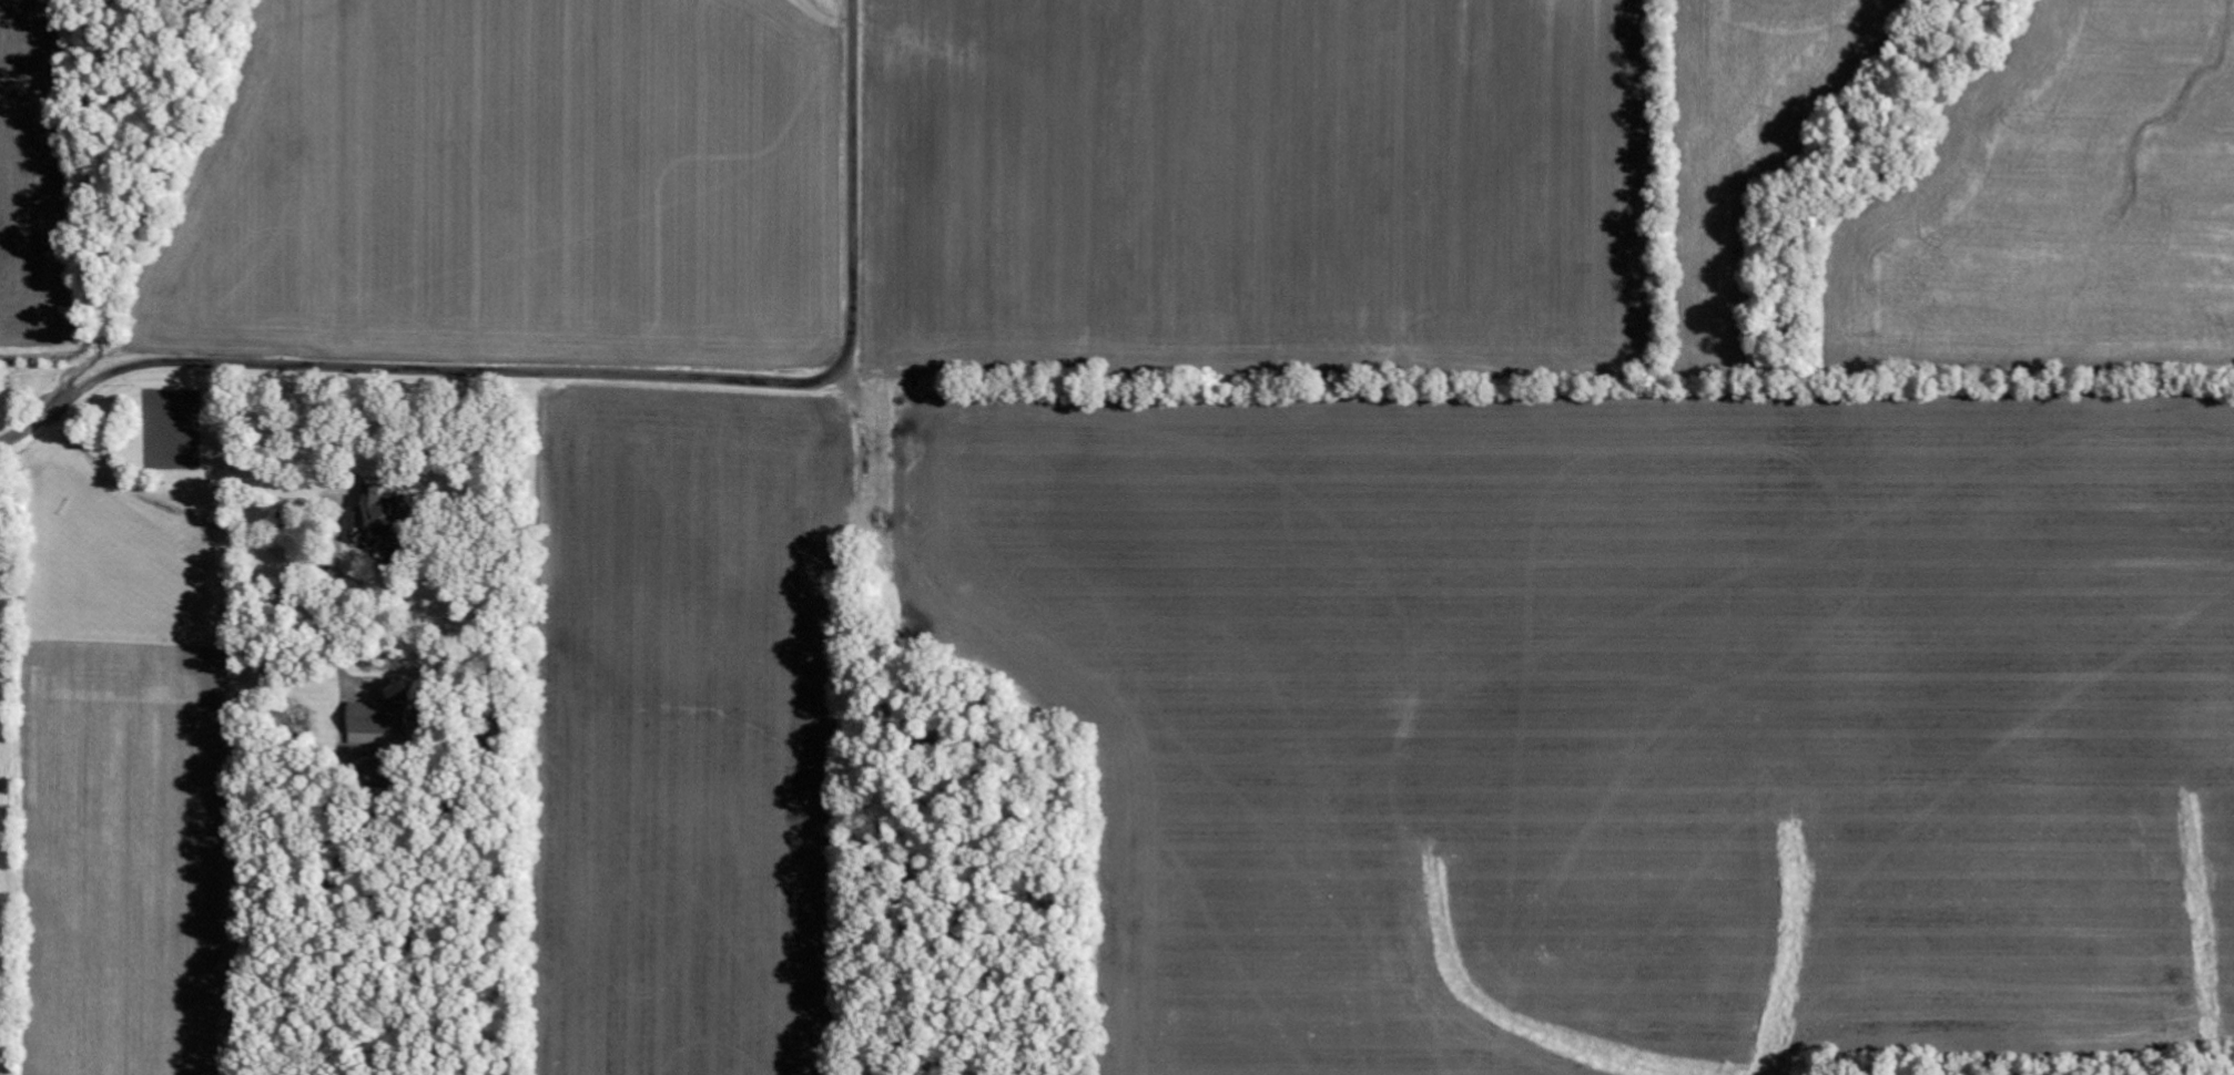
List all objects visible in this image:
road: (2196, 74)
road: (596, 375)
building: (379, 519)

